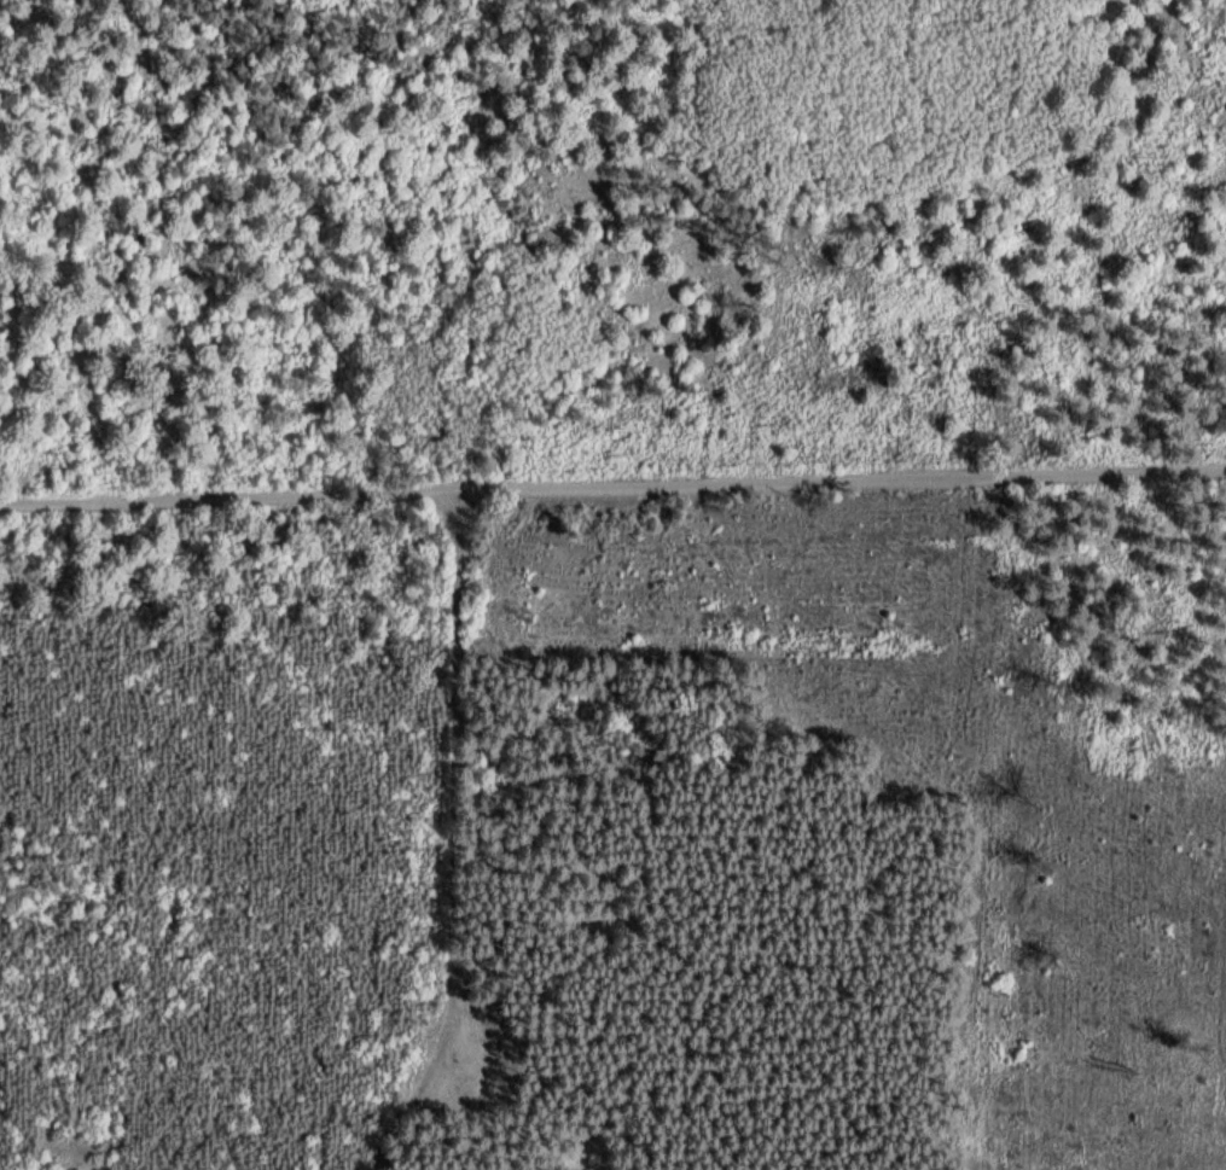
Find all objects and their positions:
road: (627, 258)
road: (612, 487)
road: (471, 839)

